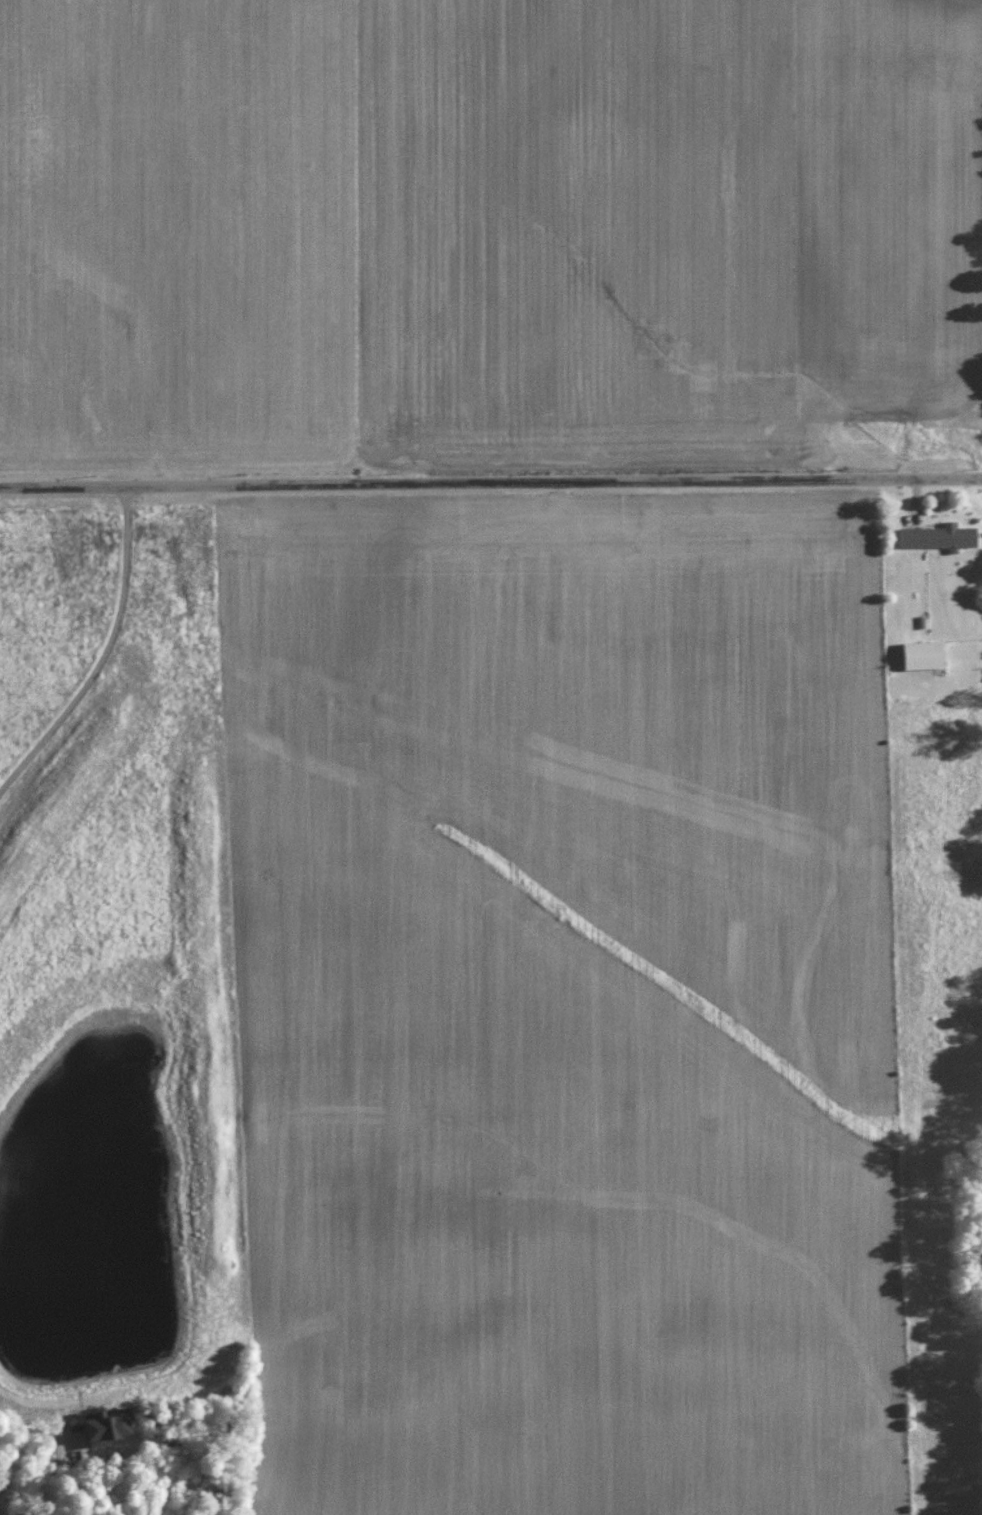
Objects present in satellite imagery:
road: (490, 480)
building: (942, 536)
road: (103, 648)
building: (929, 654)
road: (27, 1391)
building: (112, 1425)

